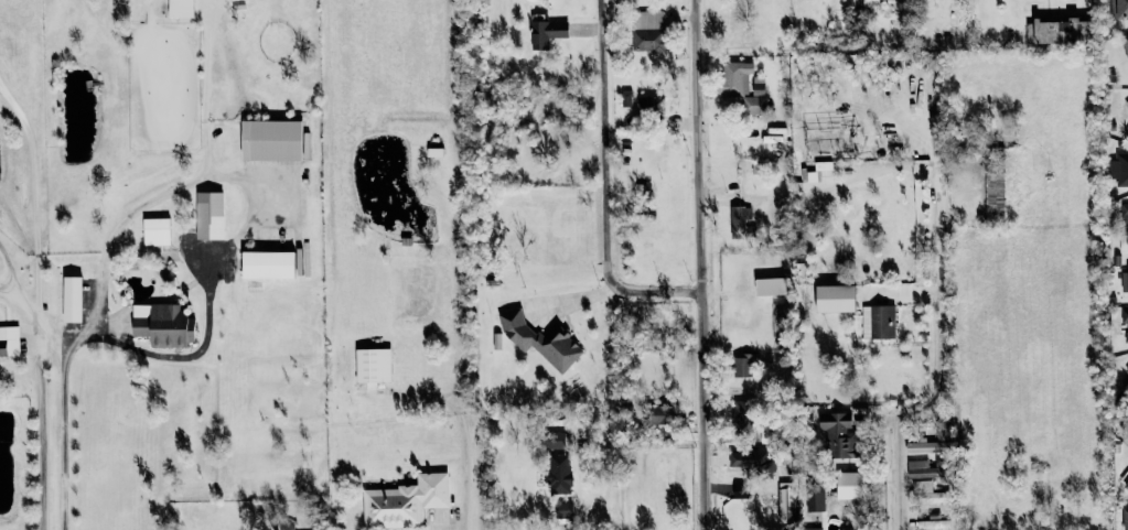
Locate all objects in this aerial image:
building: (180, 8)
building: (1120, 8)
building: (648, 30)
building: (1052, 30)
building: (548, 32)
building: (1125, 44)
building: (742, 86)
building: (1127, 102)
road: (595, 141)
building: (1119, 169)
building: (993, 193)
building: (1124, 214)
building: (208, 215)
road: (254, 215)
building: (739, 218)
building: (155, 230)
road: (4, 259)
building: (267, 264)
road: (688, 264)
road: (2, 272)
road: (643, 281)
building: (1126, 281)
building: (770, 285)
building: (834, 298)
building: (71, 299)
building: (1125, 320)
building: (879, 322)
building: (162, 324)
building: (540, 339)
building: (9, 340)
building: (1127, 356)
road: (928, 357)
building: (373, 365)
building: (742, 369)
road: (39, 396)
building: (659, 413)
building: (741, 419)
road: (64, 422)
road: (464, 433)
building: (836, 433)
building: (555, 440)
building: (926, 446)
building: (750, 462)
building: (916, 468)
building: (558, 473)
road: (609, 473)
building: (845, 478)
building: (1126, 485)
building: (923, 491)
building: (814, 495)
building: (404, 501)
building: (1125, 518)
building: (812, 529)

